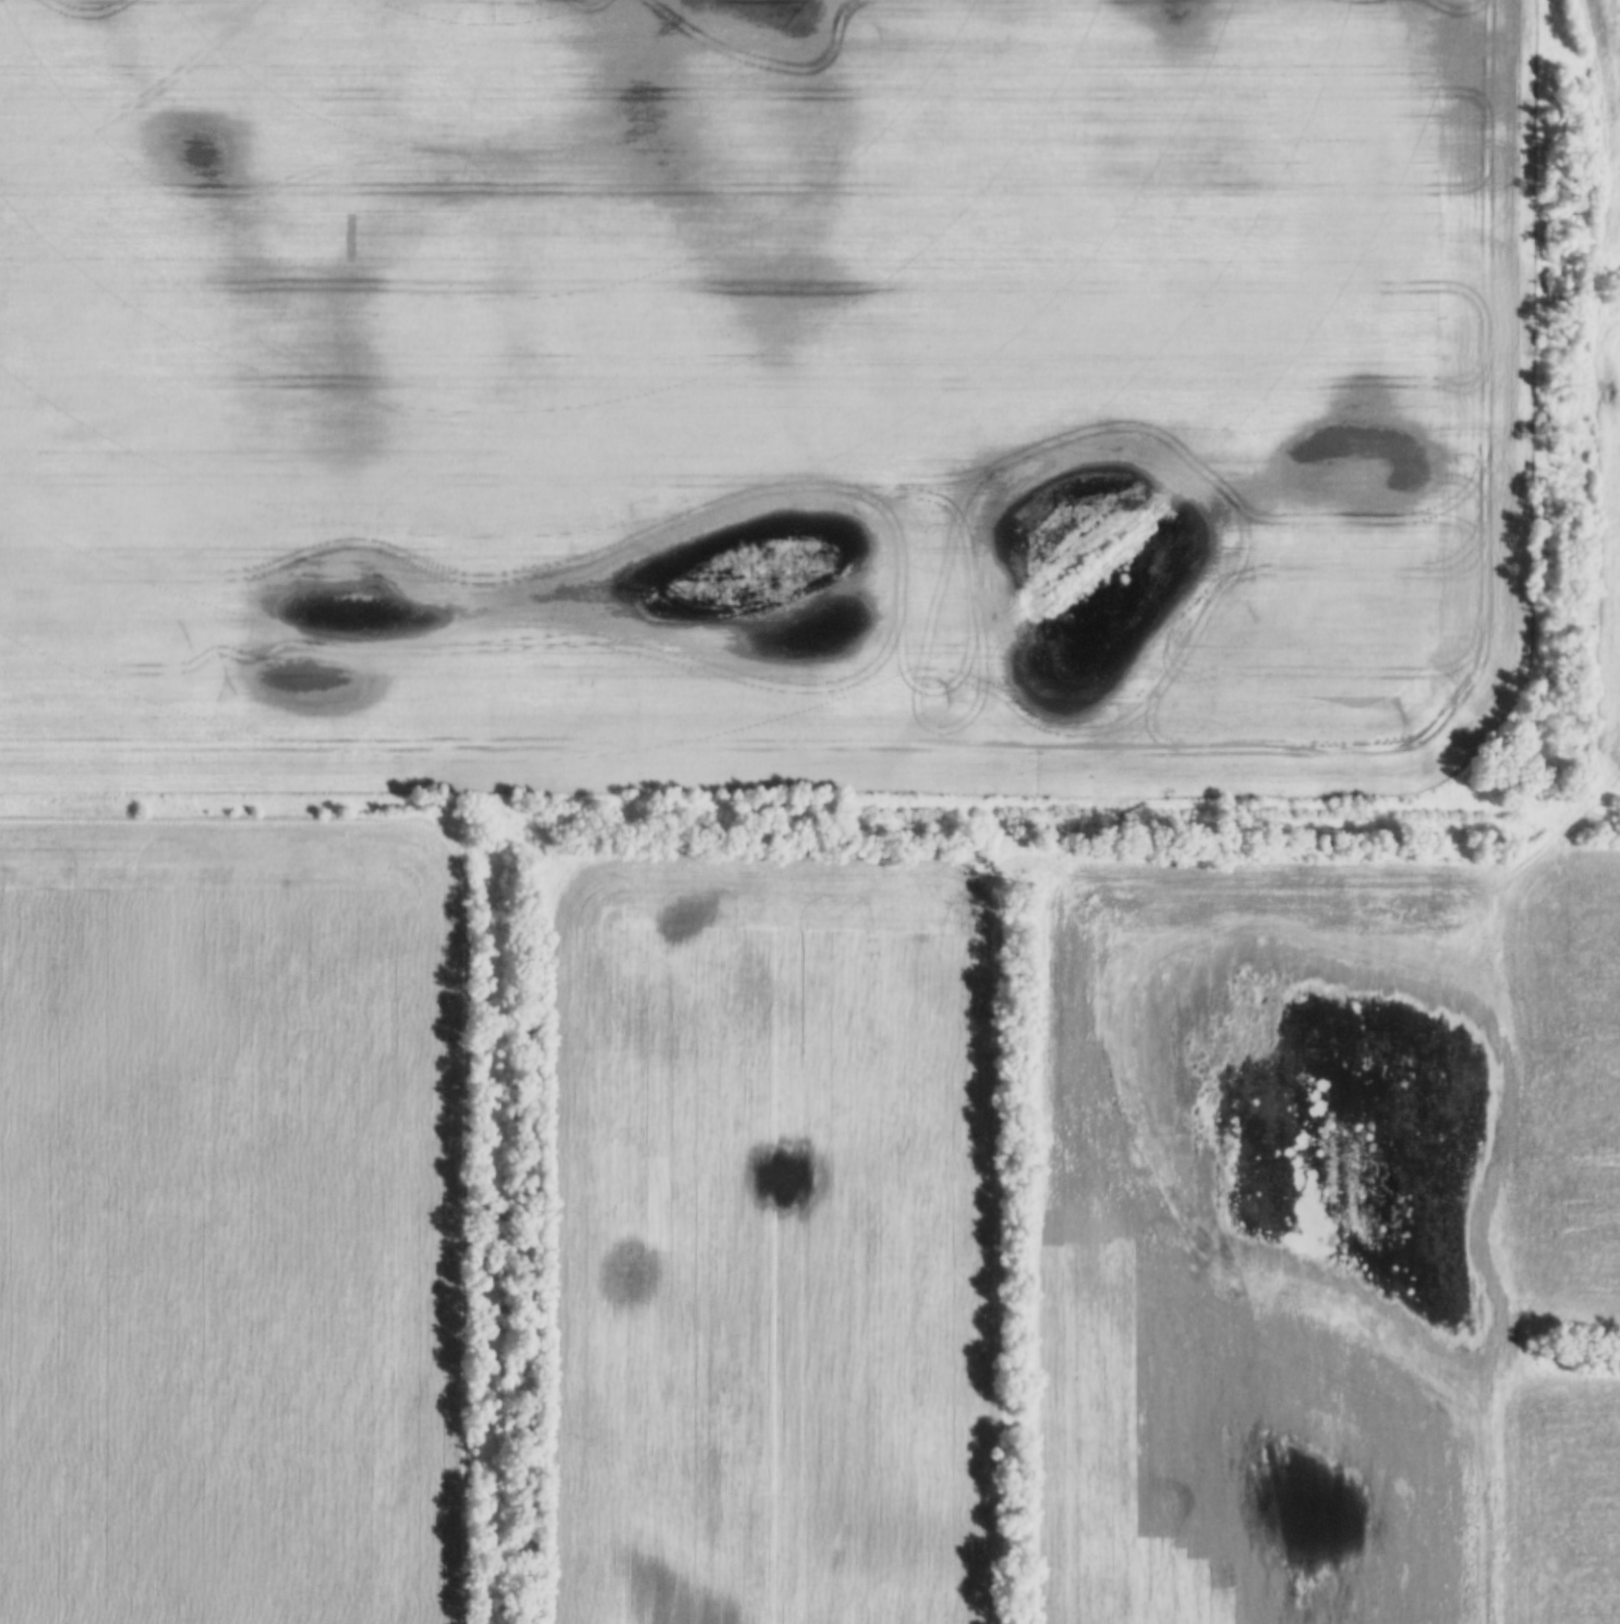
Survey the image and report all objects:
road: (500, 969)

